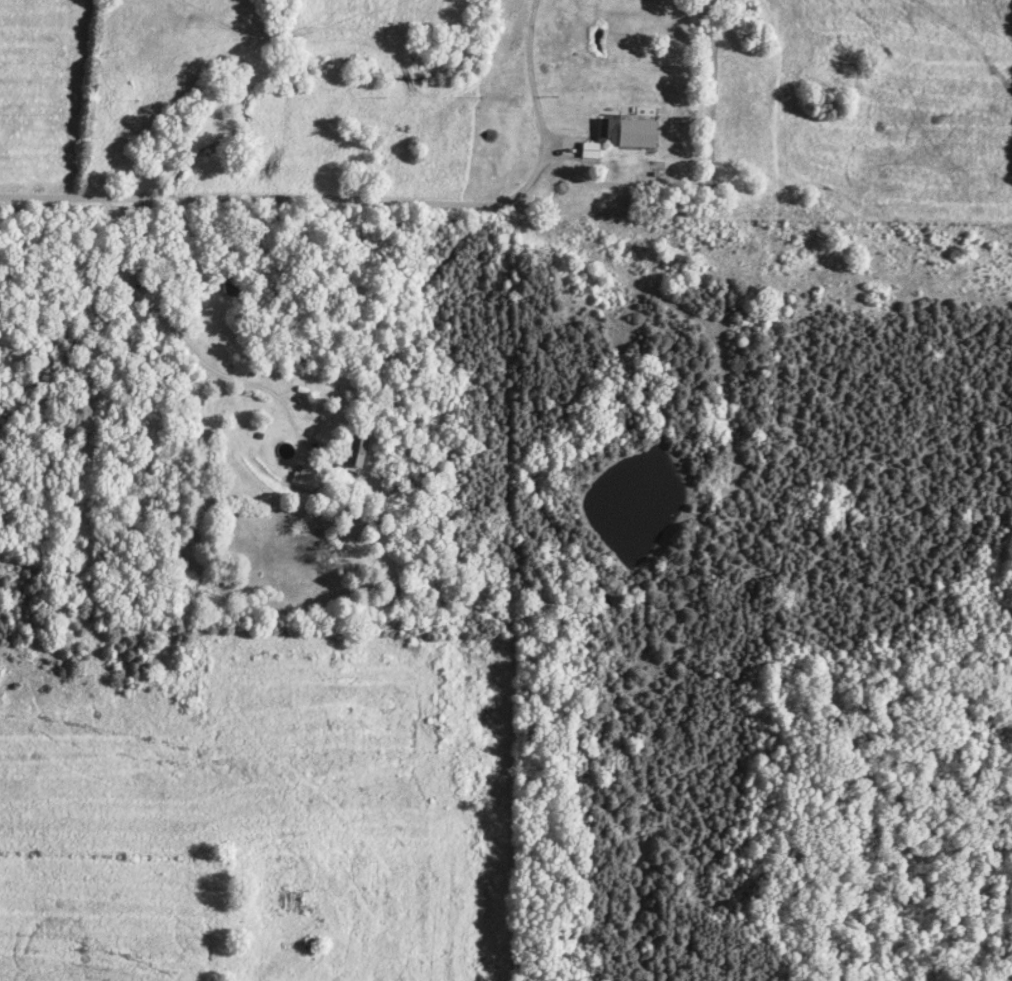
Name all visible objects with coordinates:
road: (361, 202)
road: (185, 345)
building: (357, 456)
building: (304, 477)
road: (250, 977)

